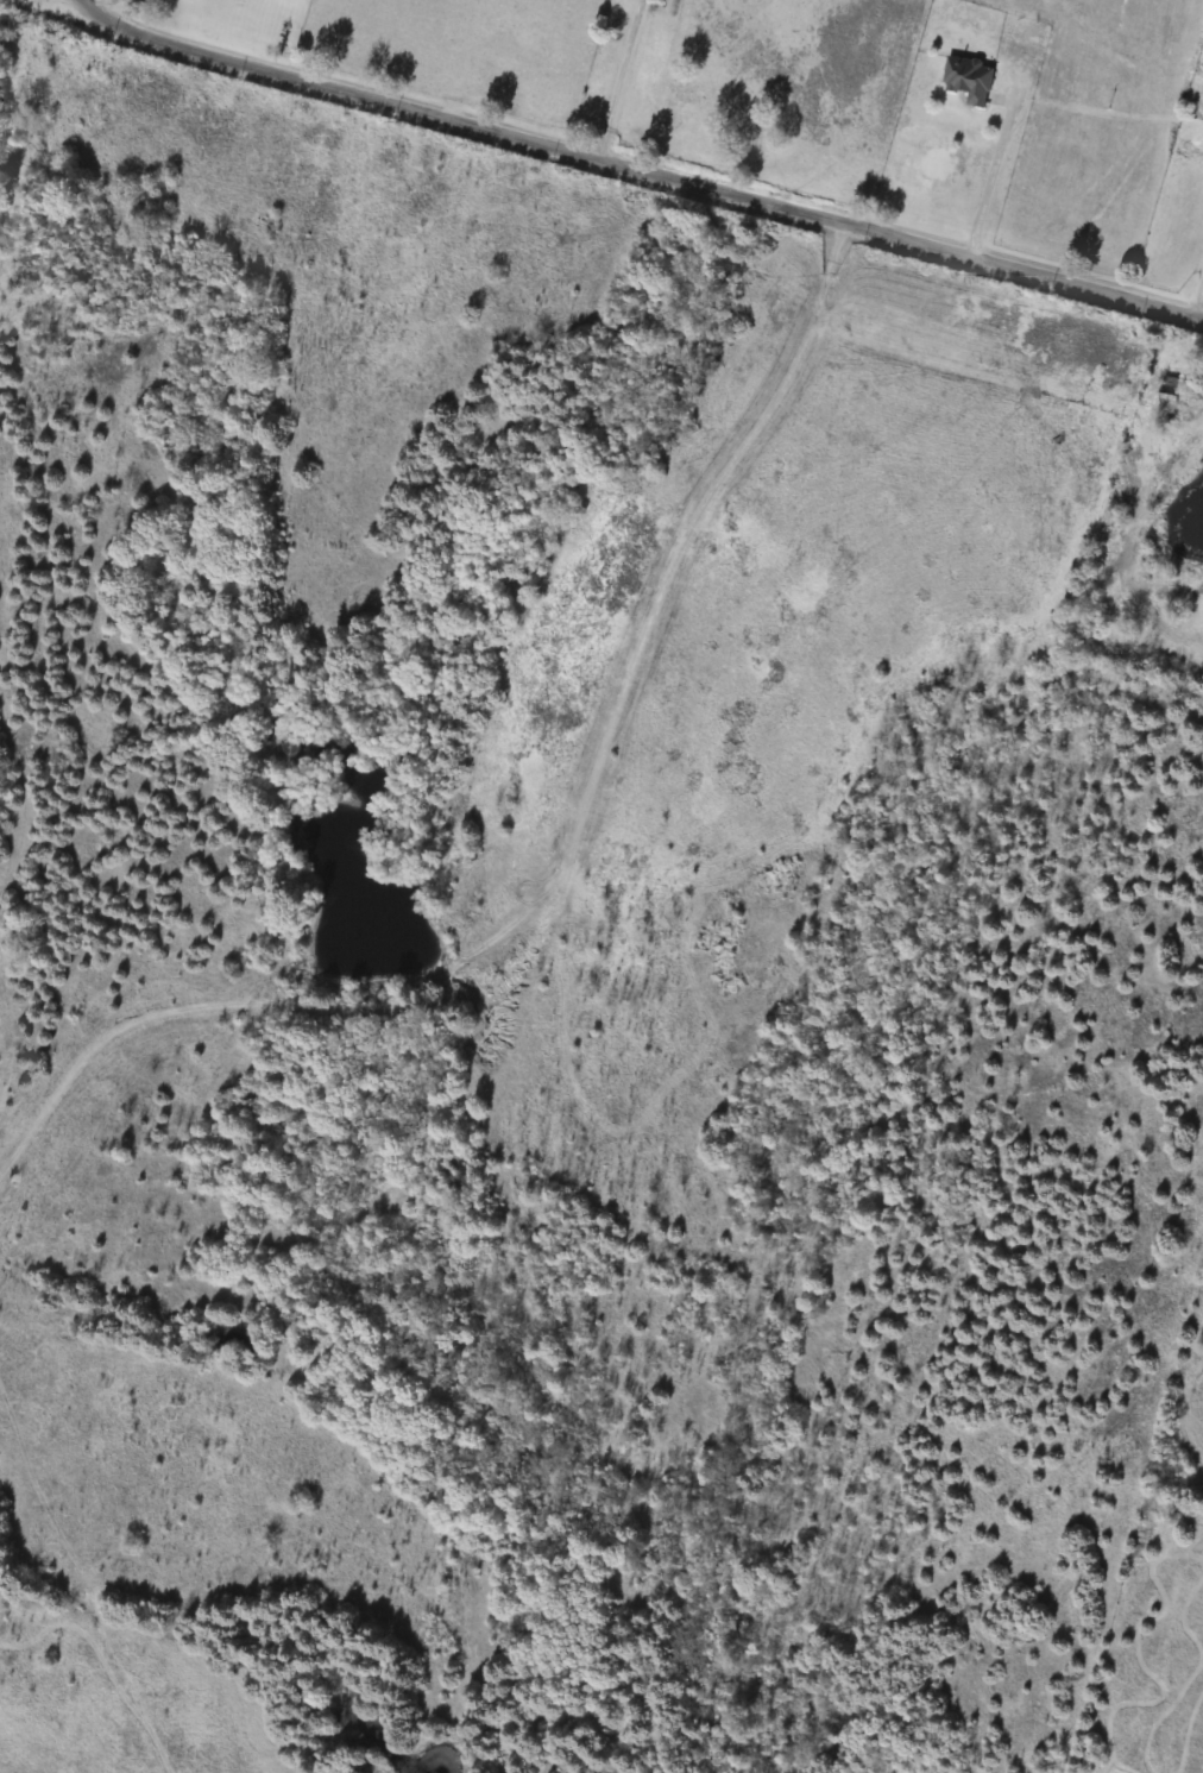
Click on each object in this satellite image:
road: (1, 0)
road: (170, 44)
road: (610, 78)
building: (971, 80)
road: (993, 176)
road: (737, 197)
road: (1198, 302)
building: (1176, 396)

